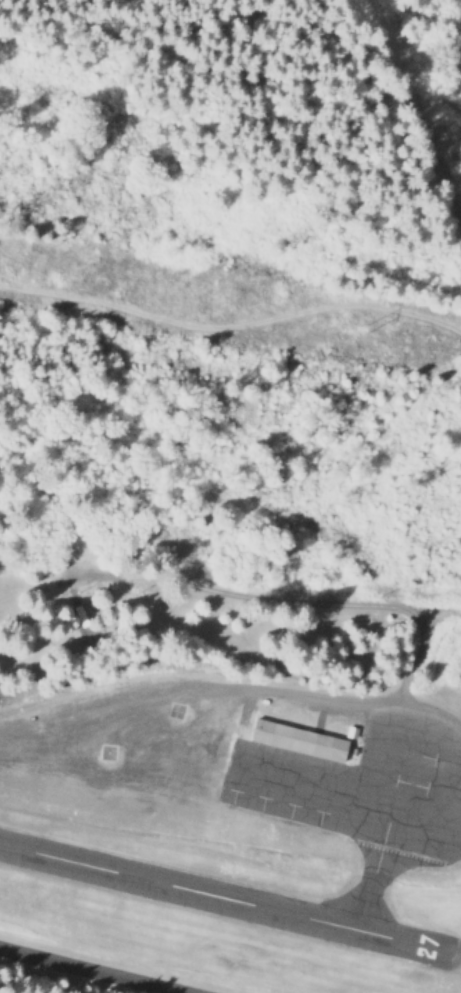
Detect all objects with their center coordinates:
road: (230, 327)
road: (269, 598)
road: (419, 655)
road: (359, 699)
building: (294, 739)
airport: (245, 823)
airport runway: (227, 898)
road: (83, 971)

